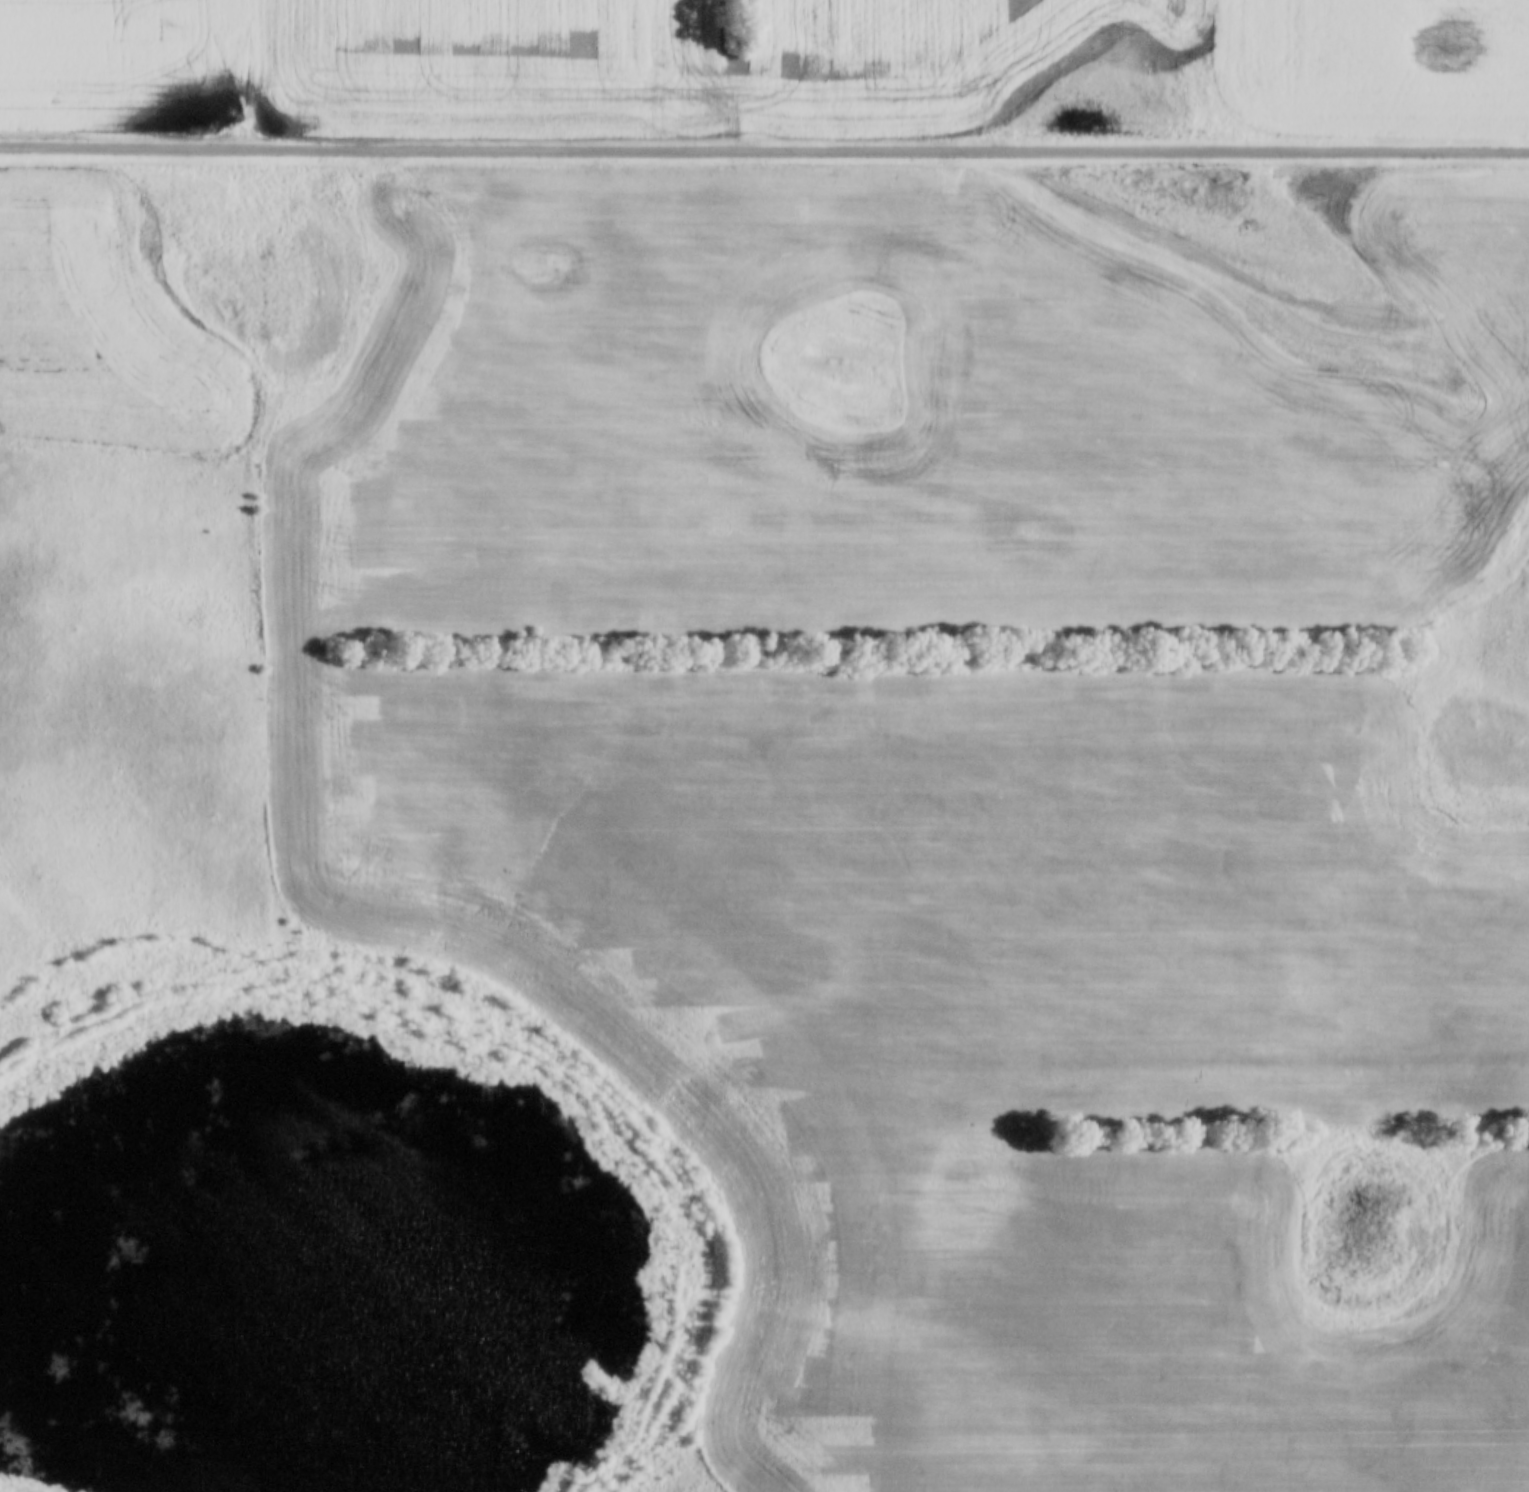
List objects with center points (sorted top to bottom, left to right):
road: (764, 152)

